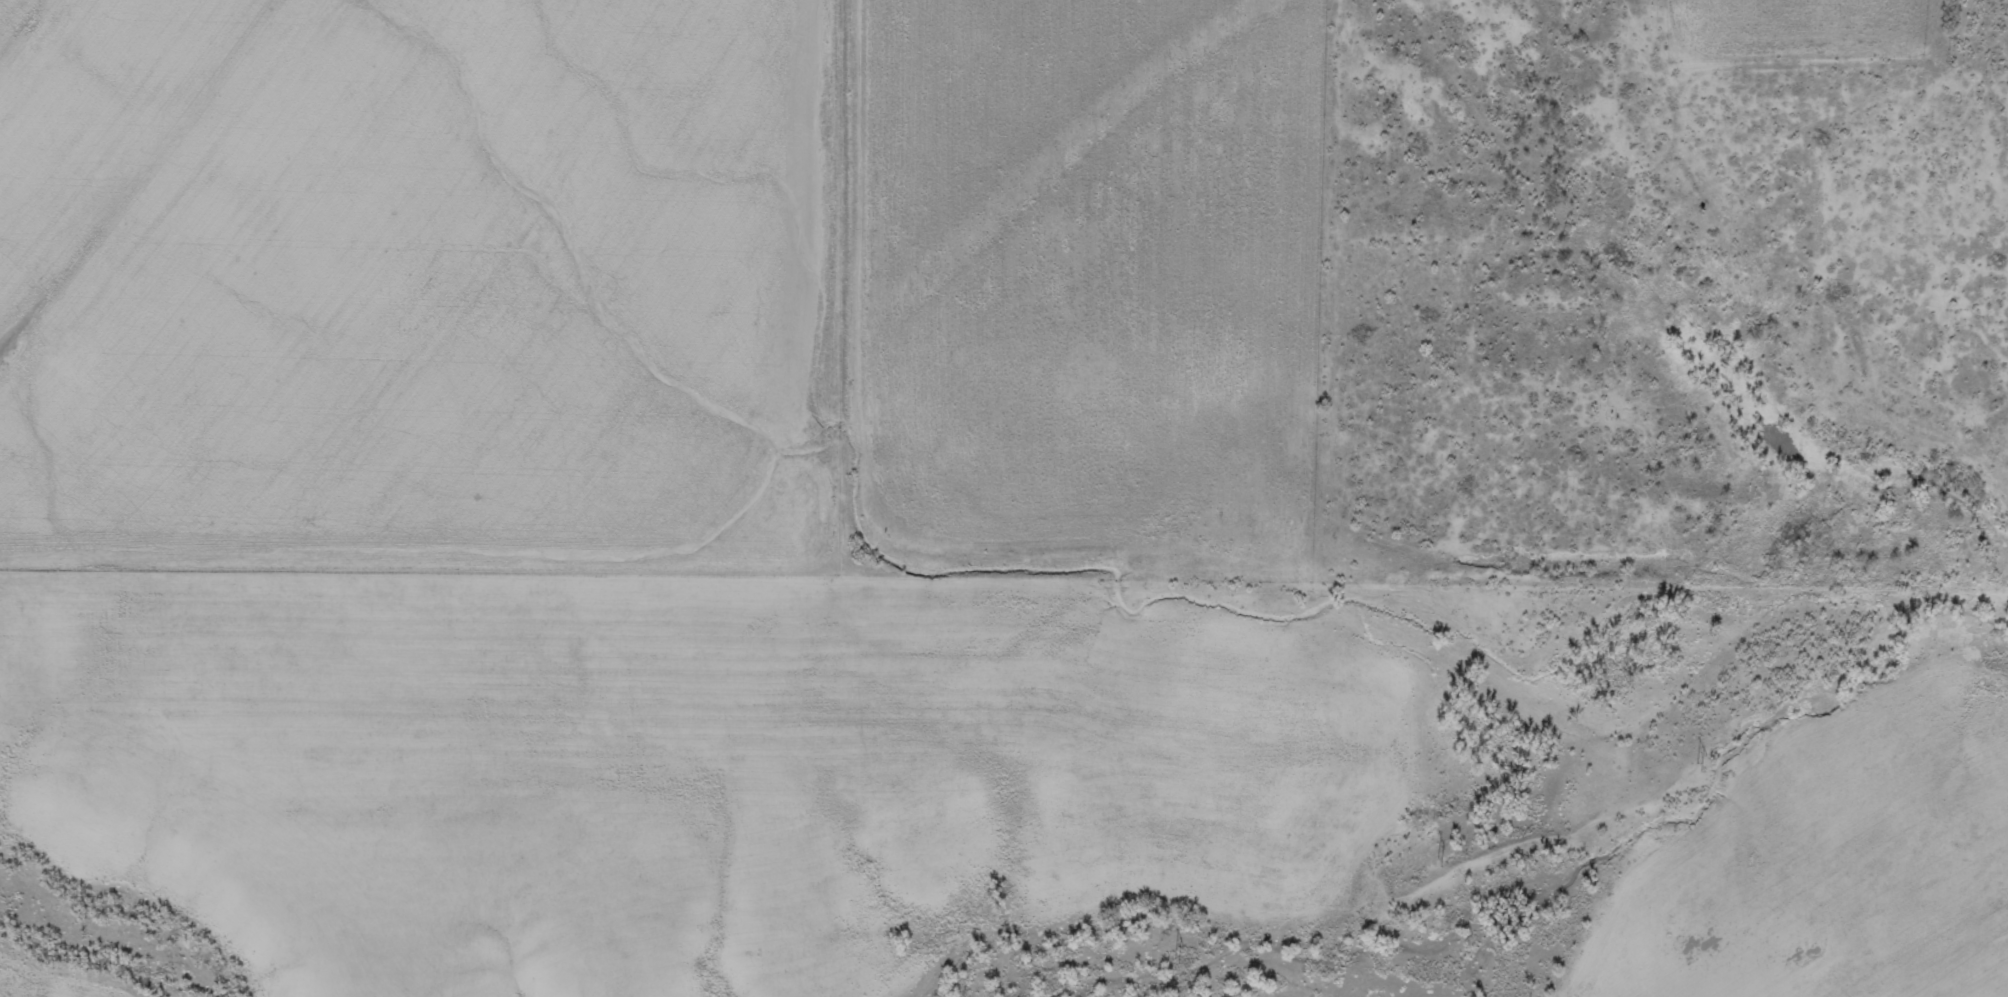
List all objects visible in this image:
power tower: (1695, 767)
power tower: (1432, 862)
power tower: (1170, 959)

